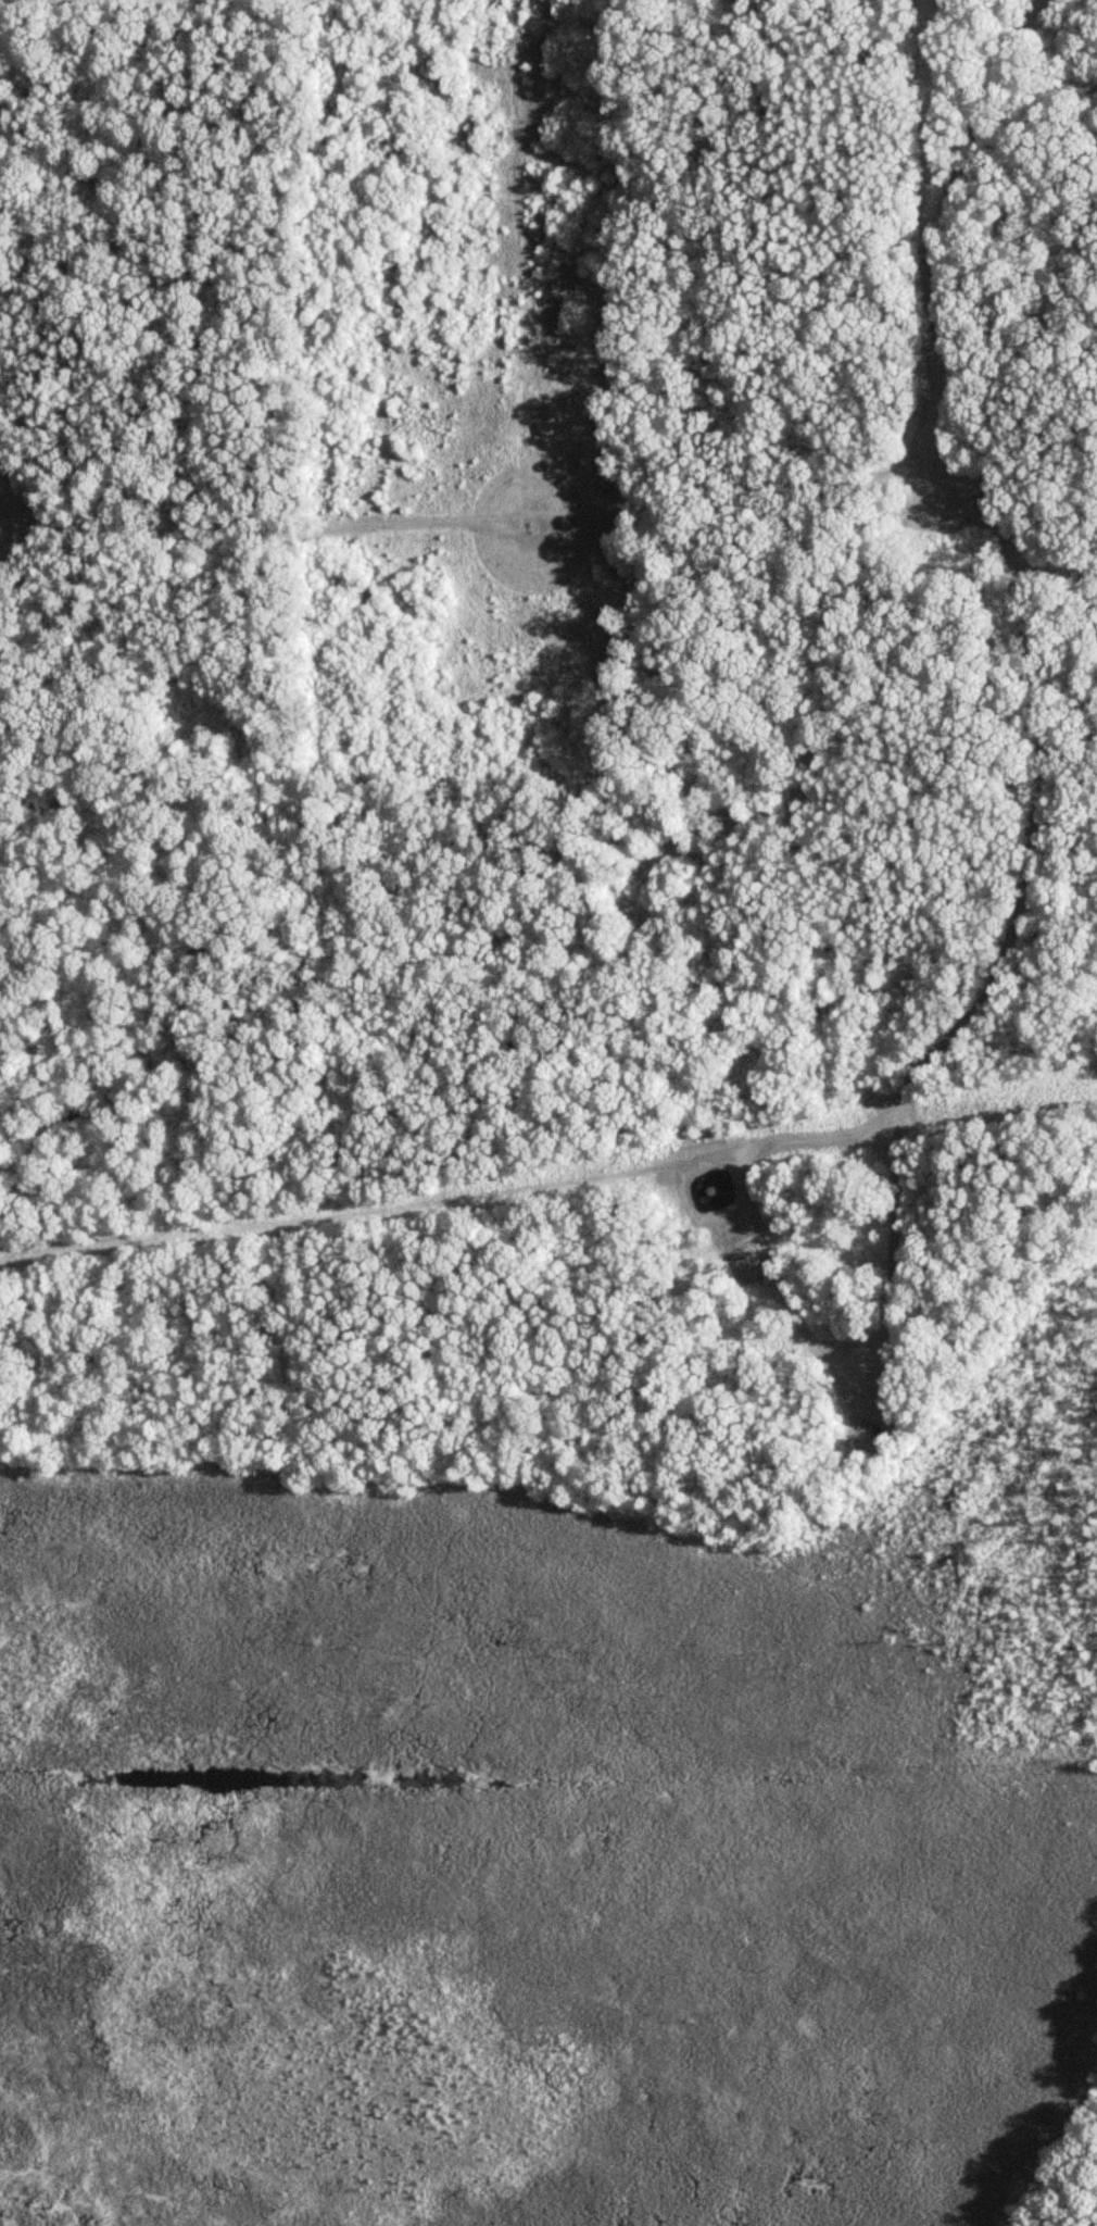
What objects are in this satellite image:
road: (2, 255)
road: (558, 528)
road: (940, 1062)
road: (741, 1196)

